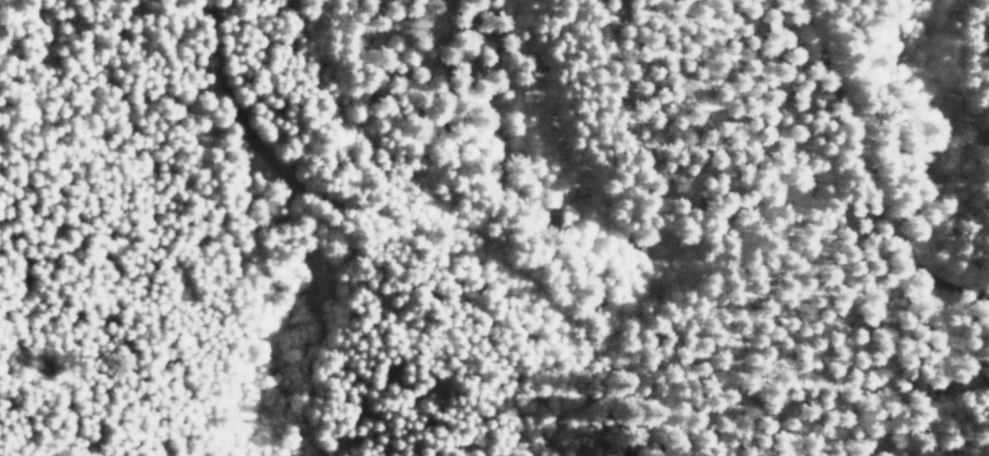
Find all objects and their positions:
road: (857, 166)

